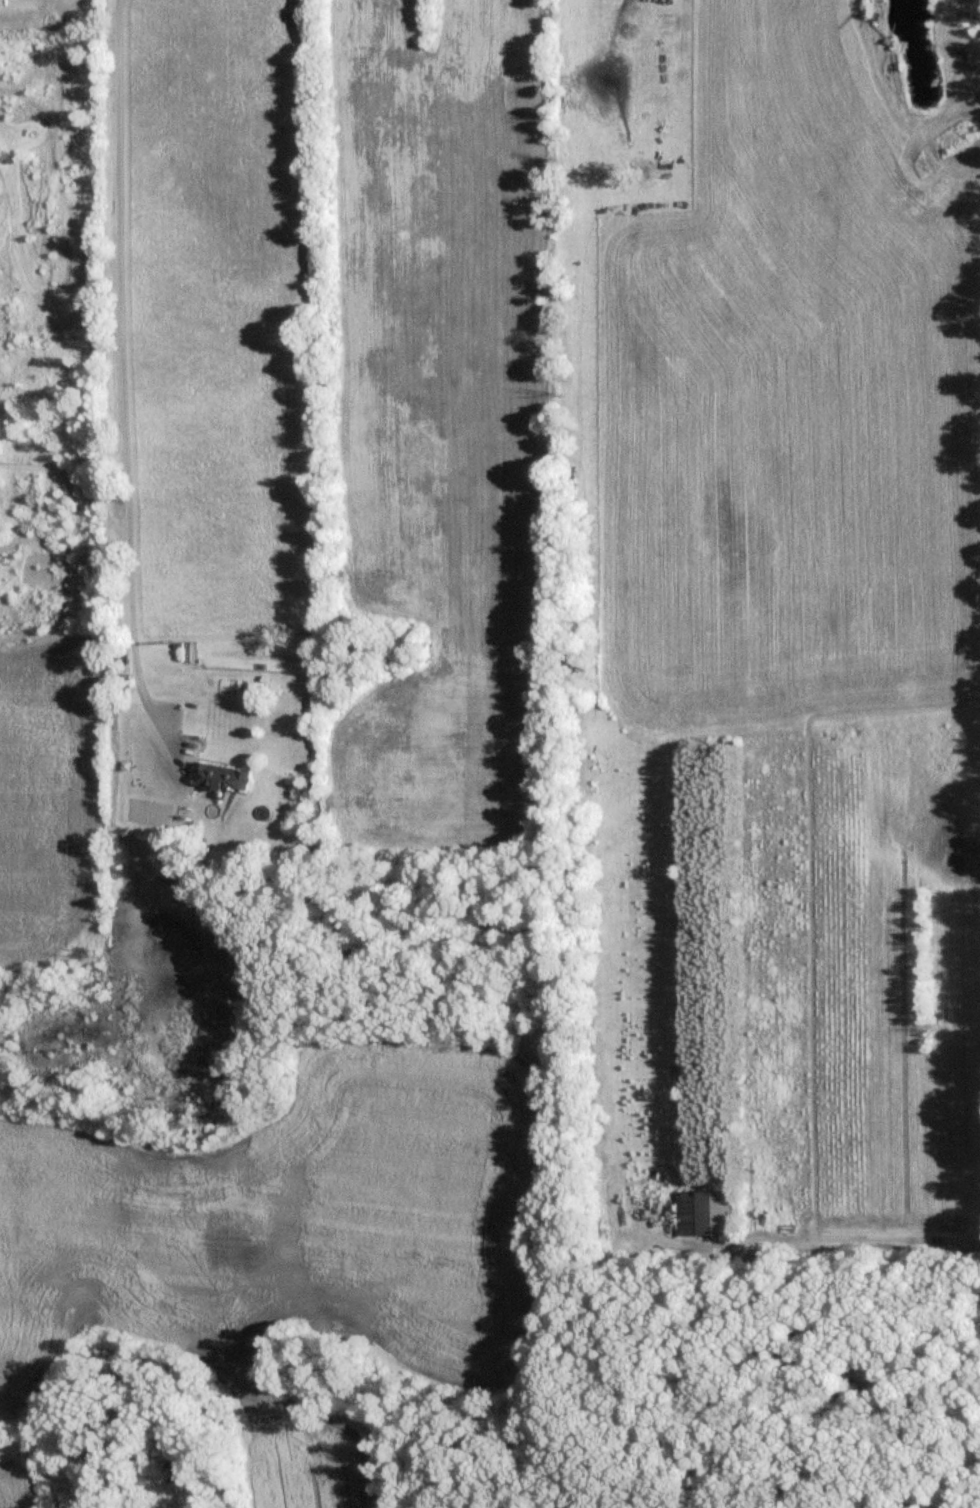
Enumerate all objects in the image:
road: (121, 380)
building: (221, 776)
road: (863, 1243)

